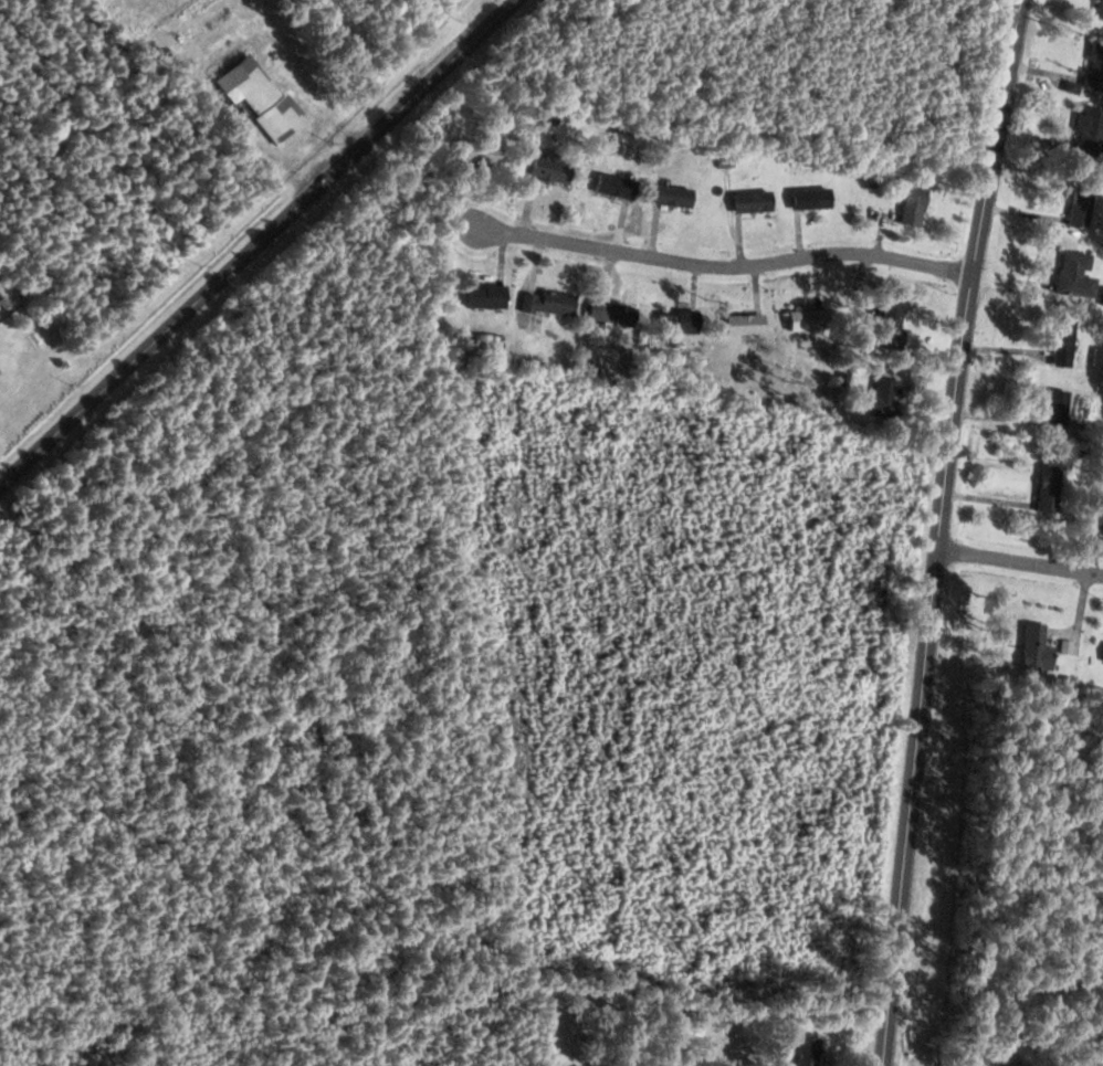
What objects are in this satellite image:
road: (501, 6)
building: (1101, 10)
building: (263, 97)
building: (1093, 133)
building: (483, 154)
building: (554, 171)
building: (618, 187)
building: (675, 197)
building: (813, 199)
building: (754, 202)
building: (916, 205)
building: (1083, 207)
road: (259, 242)
road: (717, 266)
building: (1078, 274)
building: (490, 296)
building: (550, 303)
building: (614, 313)
building: (806, 319)
building: (681, 320)
building: (747, 323)
building: (894, 326)
road: (964, 331)
building: (1065, 345)
building: (1099, 356)
building: (4, 371)
building: (889, 397)
building: (1060, 409)
building: (1052, 487)
building: (1100, 519)
road: (1020, 562)
building: (1038, 648)
road: (903, 866)
building: (810, 1051)

